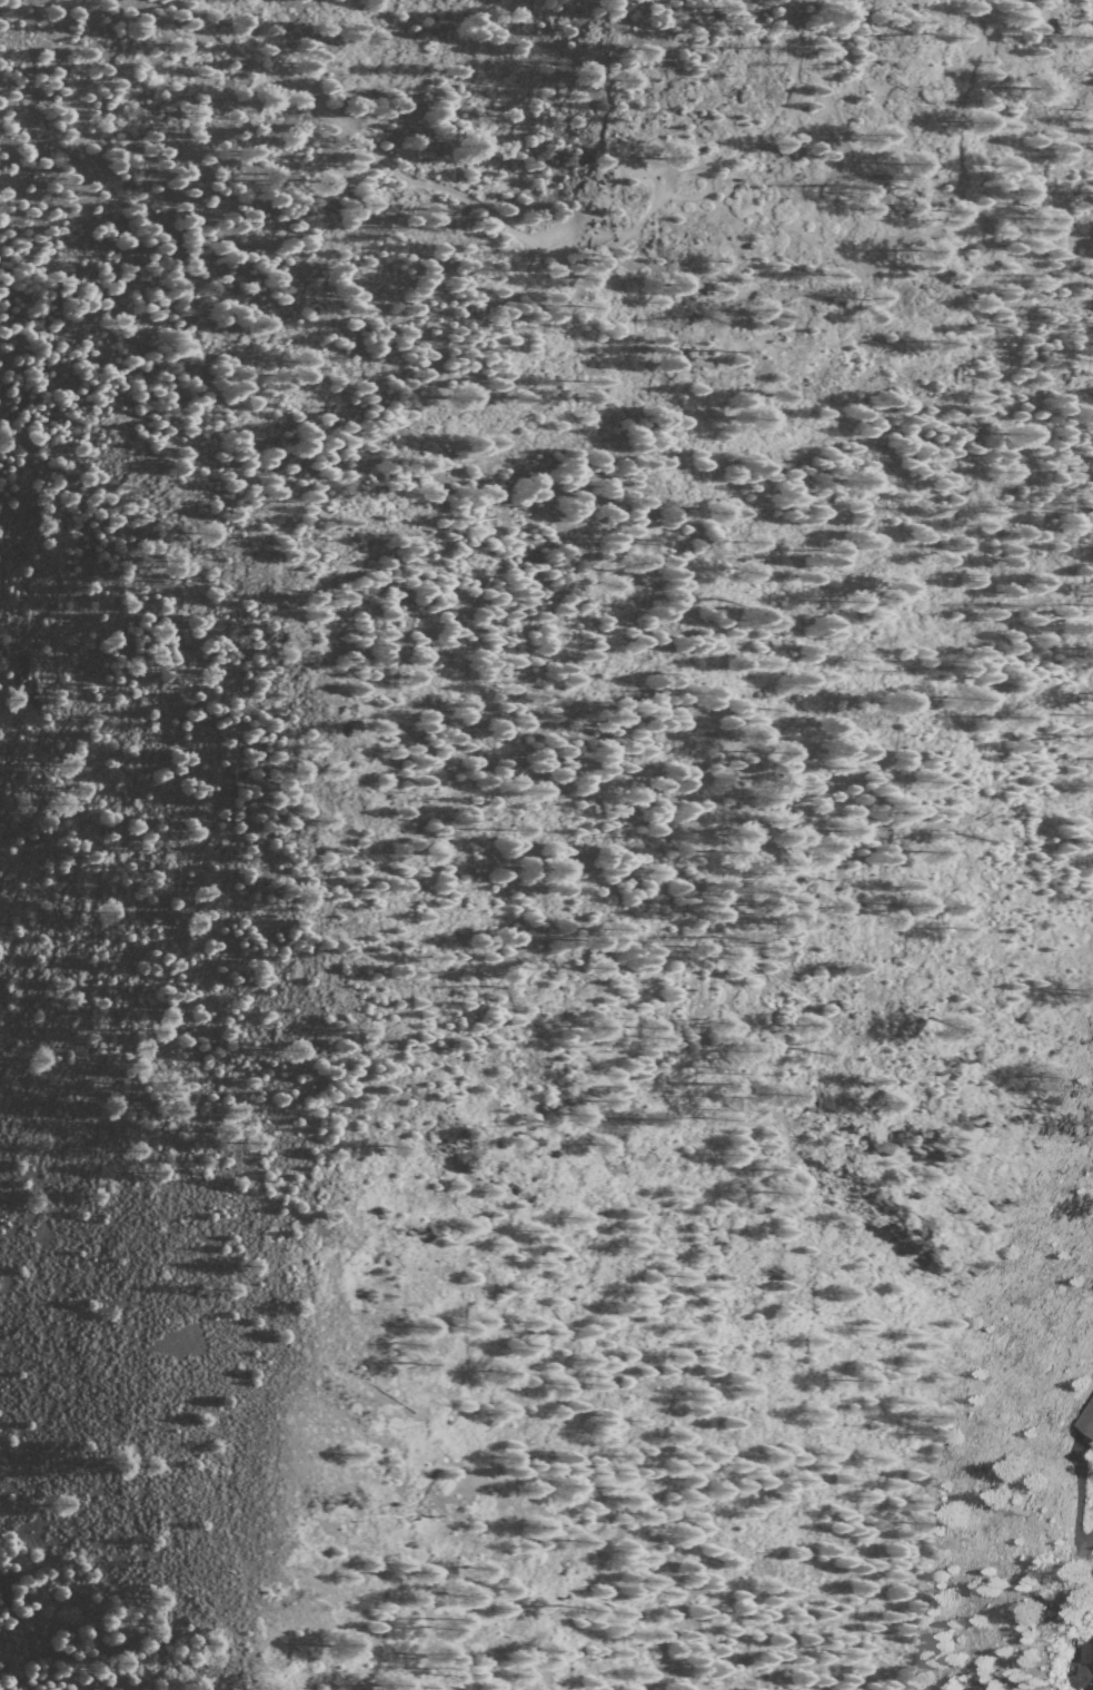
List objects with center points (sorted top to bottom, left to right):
road: (516, 235)
building: (1086, 1413)
road: (1077, 1499)
building: (1086, 1663)

